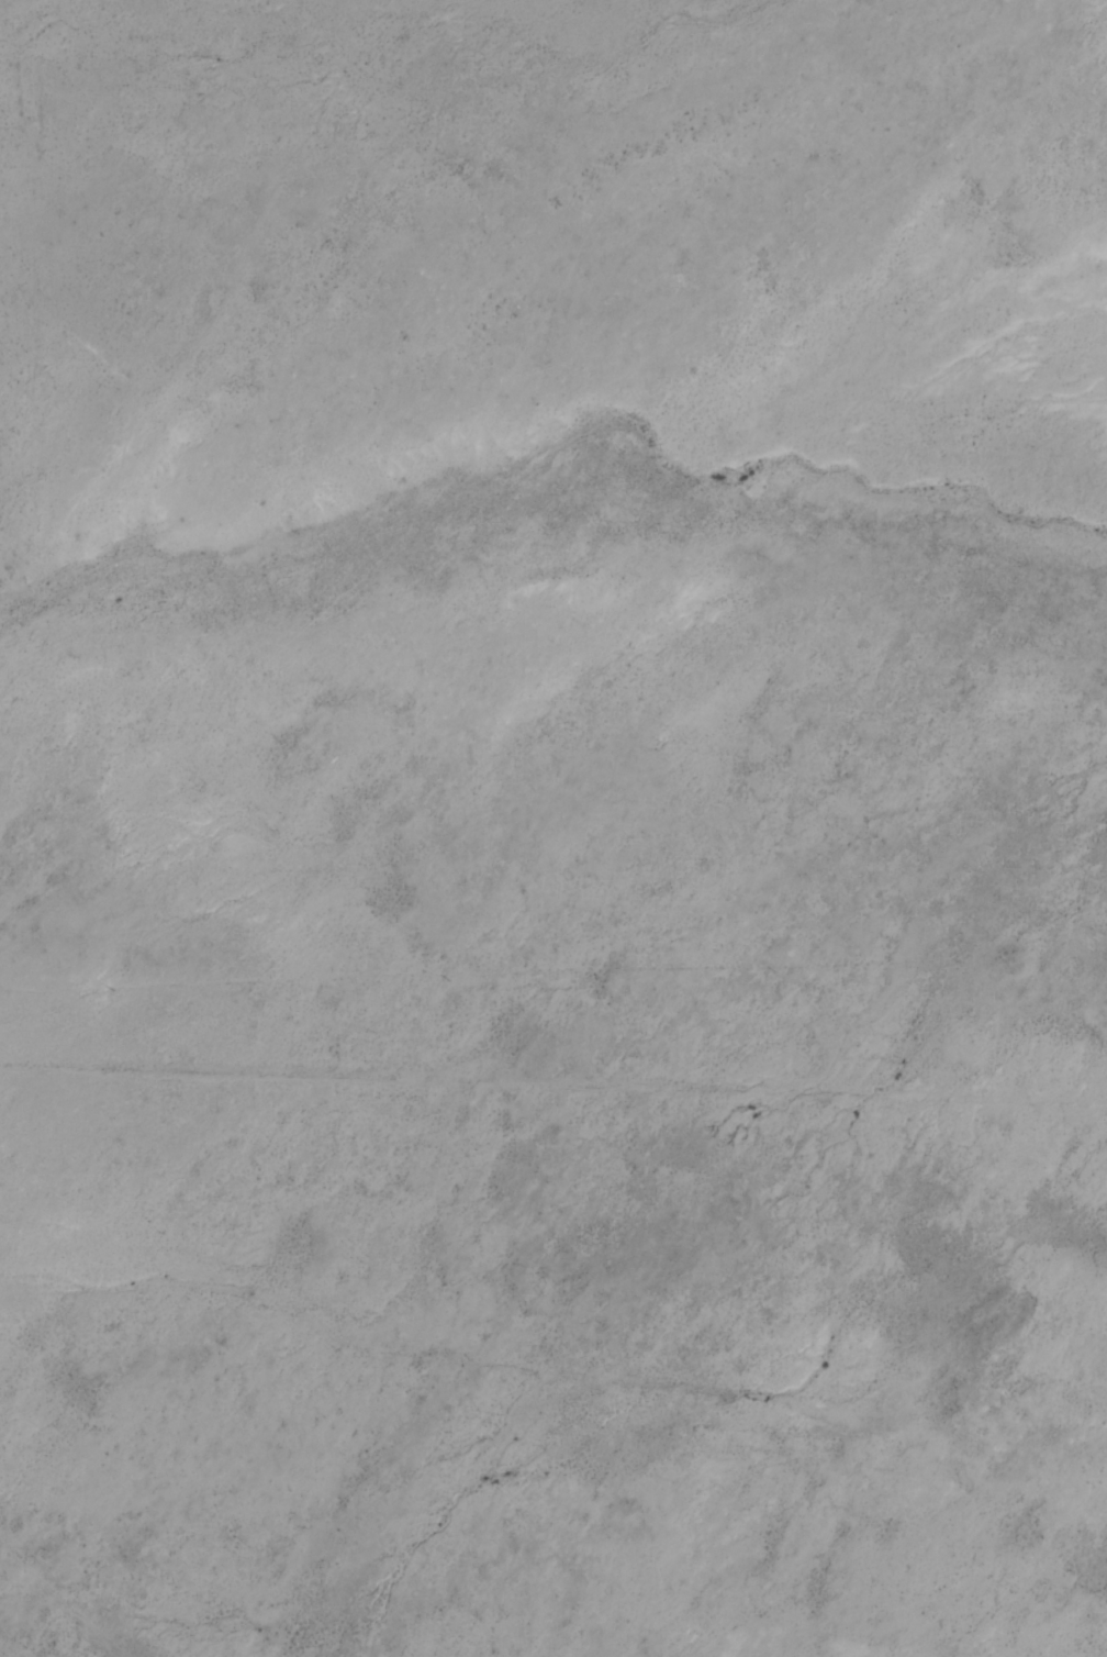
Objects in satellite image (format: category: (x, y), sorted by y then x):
road: (558, 1353)

